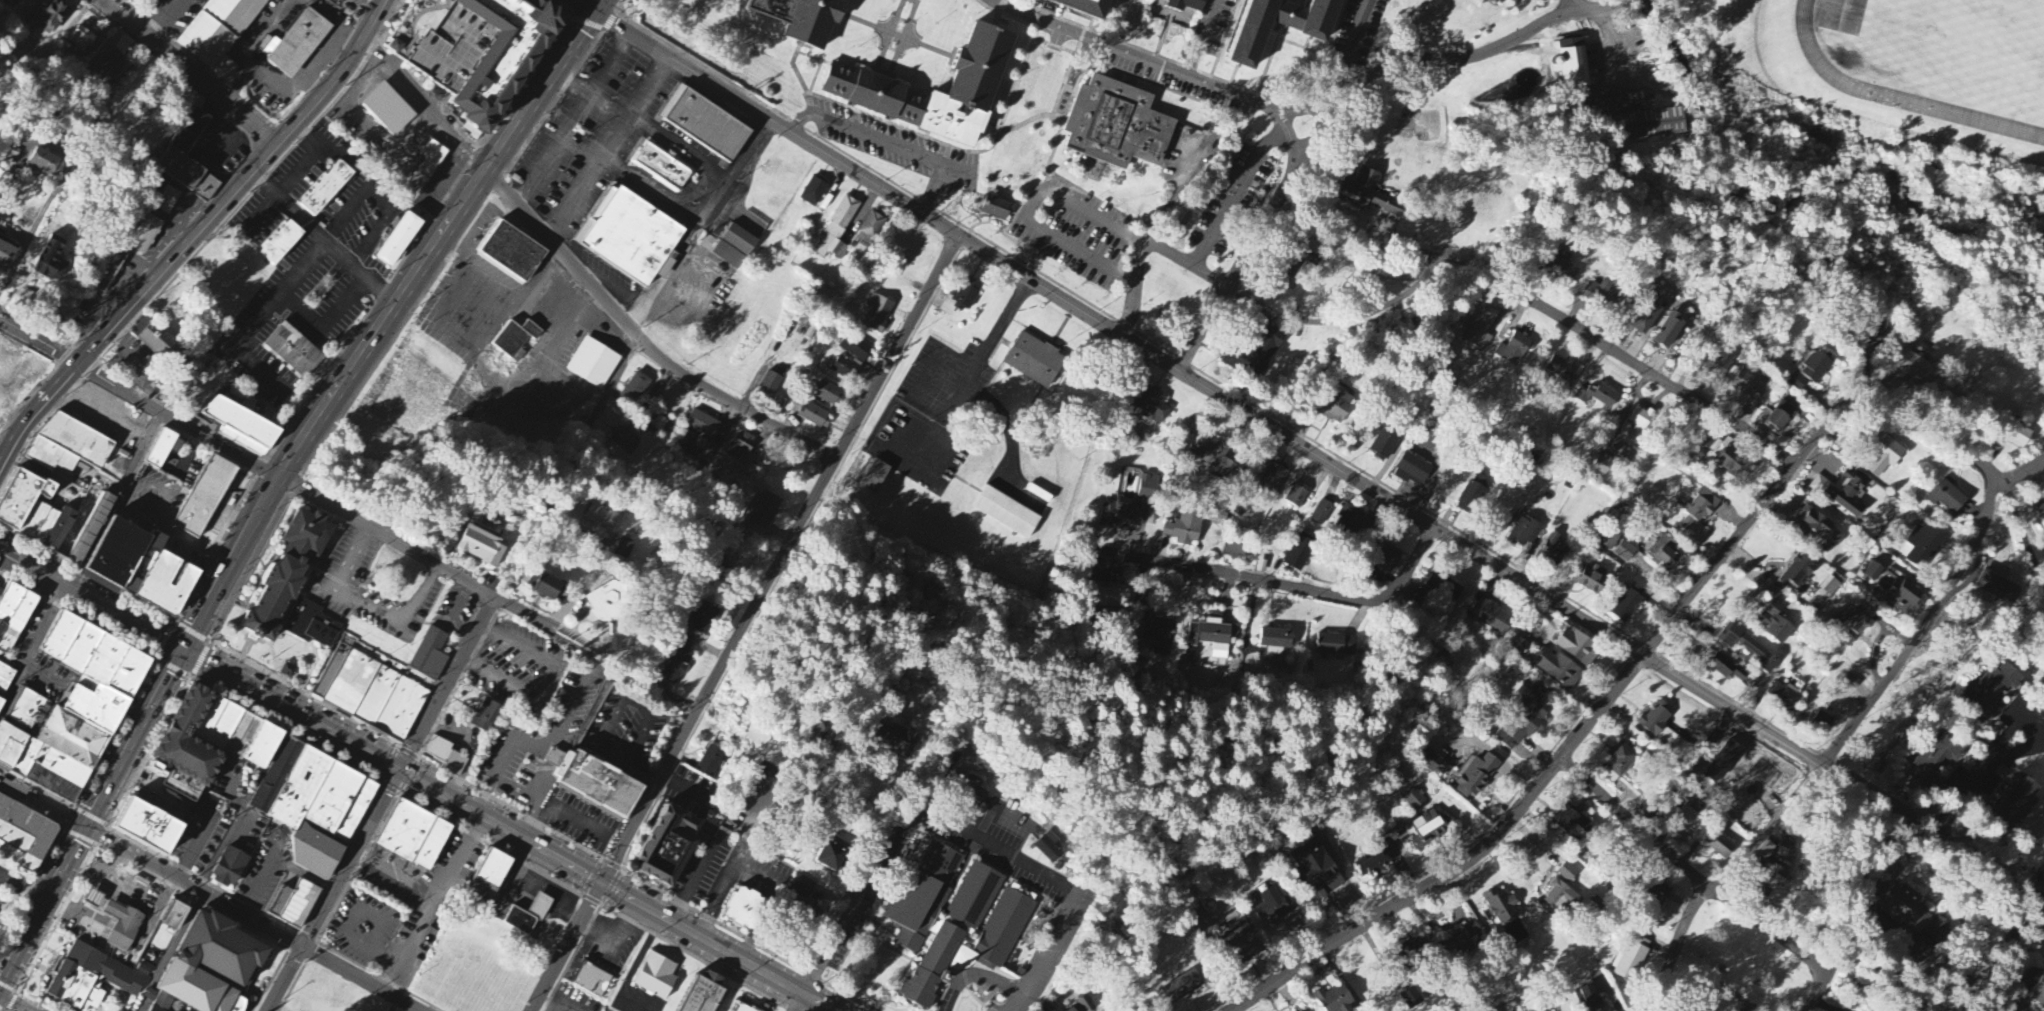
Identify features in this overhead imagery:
building: (144, 0)
building: (1499, 0)
road: (916, 1)
building: (15, 2)
road: (1599, 2)
building: (1186, 4)
road: (587, 5)
road: (600, 5)
building: (1087, 6)
traffic signals: (597, 11)
road: (1000, 11)
building: (801, 16)
building: (52, 17)
road: (1118, 23)
building: (218, 31)
building: (1316, 31)
road: (901, 35)
building: (82, 38)
road: (1202, 38)
building: (298, 41)
road: (576, 41)
building: (473, 49)
road: (1456, 59)
building: (1572, 65)
building: (113, 67)
road: (1164, 67)
road: (886, 71)
road: (192, 72)
building: (977, 74)
parking lot: (1170, 77)
track: (1824, 79)
road: (1333, 83)
road: (426, 105)
building: (389, 108)
road: (1301, 108)
road: (575, 119)
road: (1025, 122)
building: (706, 123)
building: (1117, 123)
building: (1652, 125)
parking lot: (591, 132)
building: (185, 139)
parking lot: (895, 144)
road: (607, 147)
road: (958, 148)
building: (432, 158)
building: (47, 163)
building: (662, 165)
road: (965, 169)
road: (734, 171)
road: (1029, 173)
road: (1180, 186)
building: (325, 187)
road: (934, 188)
building: (814, 192)
road: (1237, 193)
road: (707, 194)
building: (1372, 196)
road: (1063, 197)
building: (167, 201)
building: (994, 204)
building: (872, 226)
building: (838, 229)
road: (198, 234)
building: (143, 235)
building: (632, 235)
building: (397, 238)
road: (325, 241)
building: (739, 241)
building: (281, 242)
road: (1332, 246)
building: (511, 251)
road: (562, 257)
building: (729, 257)
building: (7, 258)
building: (49, 261)
building: (1304, 262)
building: (1563, 266)
road: (1237, 269)
road: (1134, 285)
building: (1600, 291)
building: (962, 298)
road: (1369, 311)
building: (878, 314)
building: (1646, 319)
building: (1479, 329)
building: (1669, 331)
building: (517, 336)
road: (38, 342)
building: (156, 343)
building: (295, 348)
building: (855, 349)
building: (1514, 350)
building: (1256, 353)
road: (361, 356)
building: (1035, 361)
building: (594, 362)
building: (1717, 363)
building: (1816, 368)
building: (1915, 368)
building: (845, 369)
road: (1645, 369)
building: (1560, 371)
building: (772, 382)
building: (1798, 382)
building: (1749, 386)
building: (635, 390)
building: (824, 392)
building: (1597, 396)
road: (736, 405)
building: (1152, 405)
road: (954, 406)
building: (1338, 410)
building: (813, 417)
building: (1781, 417)
road: (178, 420)
building: (1641, 420)
building: (658, 424)
road: (589, 425)
building: (703, 425)
building: (239, 427)
road: (1922, 433)
building: (2019, 437)
building: (75, 439)
building: (625, 443)
building: (1384, 445)
building: (741, 448)
building: (706, 451)
building: (49, 456)
building: (177, 457)
road: (1322, 457)
building: (1884, 458)
building: (1215, 461)
building: (1735, 464)
road: (2016, 466)
building: (1413, 469)
road: (830, 475)
building: (875, 477)
building: (1274, 477)
building: (239, 483)
building: (1149, 488)
building: (1842, 492)
road: (1992, 493)
building: (1474, 494)
building: (205, 495)
building: (21, 497)
building: (1297, 497)
building: (1947, 498)
road: (119, 500)
building: (1701, 506)
building: (765, 511)
building: (2041, 512)
building: (1007, 513)
building: (1323, 514)
building: (604, 517)
building: (1120, 517)
building: (1217, 518)
building: (34, 520)
building: (1349, 520)
building: (1687, 524)
building: (75, 525)
building: (1821, 527)
building: (1185, 529)
road: (2016, 529)
building: (1524, 533)
road: (175, 535)
building: (1924, 546)
building: (482, 547)
building: (1237, 547)
building: (1617, 547)
building: (625, 549)
building: (1554, 549)
building: (1664, 551)
building: (1299, 554)
building: (115, 555)
building: (1388, 559)
building: (141, 564)
road: (431, 564)
building: (720, 566)
building: (1798, 572)
building: (1873, 572)
road: (1709, 574)
building: (1590, 579)
road: (1271, 581)
building: (164, 583)
building: (291, 586)
building: (544, 586)
building: (1829, 586)
building: (1445, 587)
building: (1998, 588)
building: (1906, 594)
building: (1108, 598)
road: (92, 599)
building: (1629, 603)
building: (13, 616)
building: (1493, 618)
building: (703, 619)
building: (1775, 624)
building: (1159, 634)
building: (1213, 637)
building: (1276, 641)
building: (1336, 645)
building: (1519, 645)
building: (1749, 647)
building: (1578, 648)
road: (34, 651)
traffic signals: (184, 652)
building: (429, 654)
building: (115, 665)
building: (333, 666)
building: (677, 667)
building: (1726, 669)
building: (1558, 670)
building: (288, 671)
building: (2, 674)
building: (351, 682)
building: (1992, 690)
building: (376, 696)
building: (1784, 698)
building: (0, 701)
building: (93, 705)
building: (401, 708)
road: (291, 711)
building: (28, 715)
building: (486, 717)
building: (1526, 717)
building: (1656, 720)
building: (1823, 722)
building: (821, 733)
building: (241, 742)
road: (545, 742)
building: (899, 742)
building: (182, 744)
building: (51, 750)
building: (447, 753)
building: (1431, 758)
building: (1621, 760)
building: (711, 762)
building: (1935, 762)
road: (1822, 766)
traffic signals: (400, 770)
building: (1478, 777)
road: (1978, 777)
building: (596, 788)
building: (969, 789)
road: (526, 793)
building: (321, 796)
building: (1414, 800)
road: (381, 803)
road: (44, 804)
road: (562, 808)
road: (531, 815)
road: (91, 821)
building: (1571, 823)
traffic signals: (88, 829)
building: (1429, 831)
building: (141, 835)
building: (426, 841)
building: (20, 842)
building: (665, 842)
building: (1720, 847)
building: (1048, 848)
building: (326, 856)
building: (831, 858)
road: (617, 862)
building: (1372, 866)
building: (240, 871)
building: (1314, 871)
building: (492, 872)
building: (1567, 873)
road: (396, 875)
building: (1777, 875)
building: (506, 877)
road: (1052, 878)
road: (1702, 882)
traffic signals: (606, 884)
building: (804, 887)
road: (196, 888)
road: (618, 890)
road: (23, 891)
road: (2036, 891)
building: (1659, 893)
building: (1562, 896)
road: (1405, 898)
building: (94, 899)
road: (433, 904)
building: (745, 905)
building: (304, 906)
road: (858, 906)
building: (1273, 906)
building: (1502, 908)
building: (1905, 908)
building: (529, 916)
building: (174, 918)
building: (954, 920)
building: (122, 928)
building: (1938, 929)
building: (1946, 937)
building: (1463, 942)
building: (1241, 944)
building: (1416, 951)
building: (1630, 963)
park: (1730, 970)
building: (171, 972)
building: (593, 975)
building: (657, 977)
road: (974, 978)
road: (361, 980)
building: (2036, 986)
building: (1182, 988)
building: (702, 994)
building: (1590, 999)
building: (1333, 1000)
building: (1412, 1000)
road: (13, 1003)
road: (804, 1003)
road: (563, 1005)
building: (1085, 1005)
road: (547, 1007)
building: (738, 1007)
building: (1047, 1009)
building: (1072, 1010)

